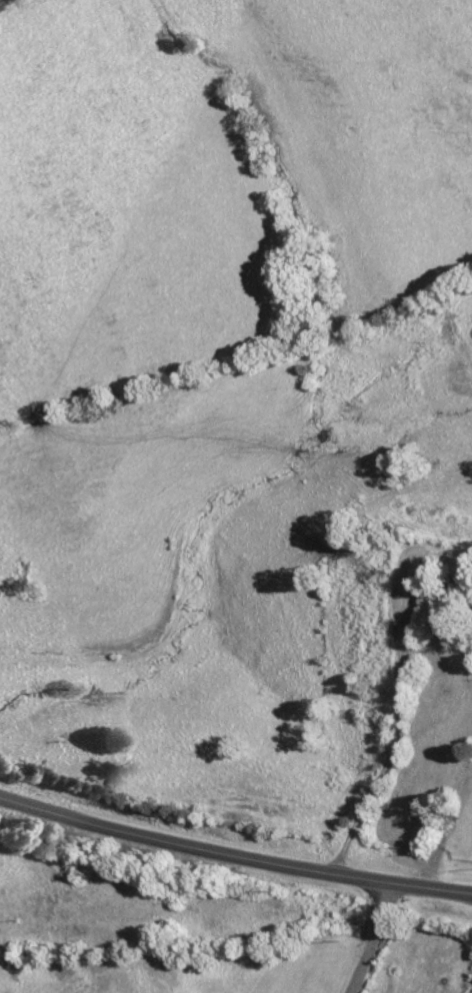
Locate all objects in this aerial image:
road: (400, 691)
road: (446, 832)
road: (233, 857)

